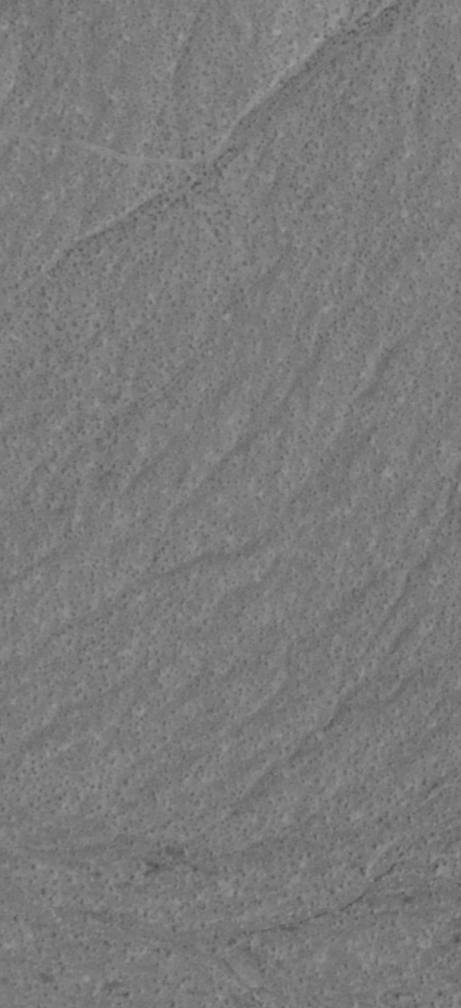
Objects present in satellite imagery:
road: (222, 149)

